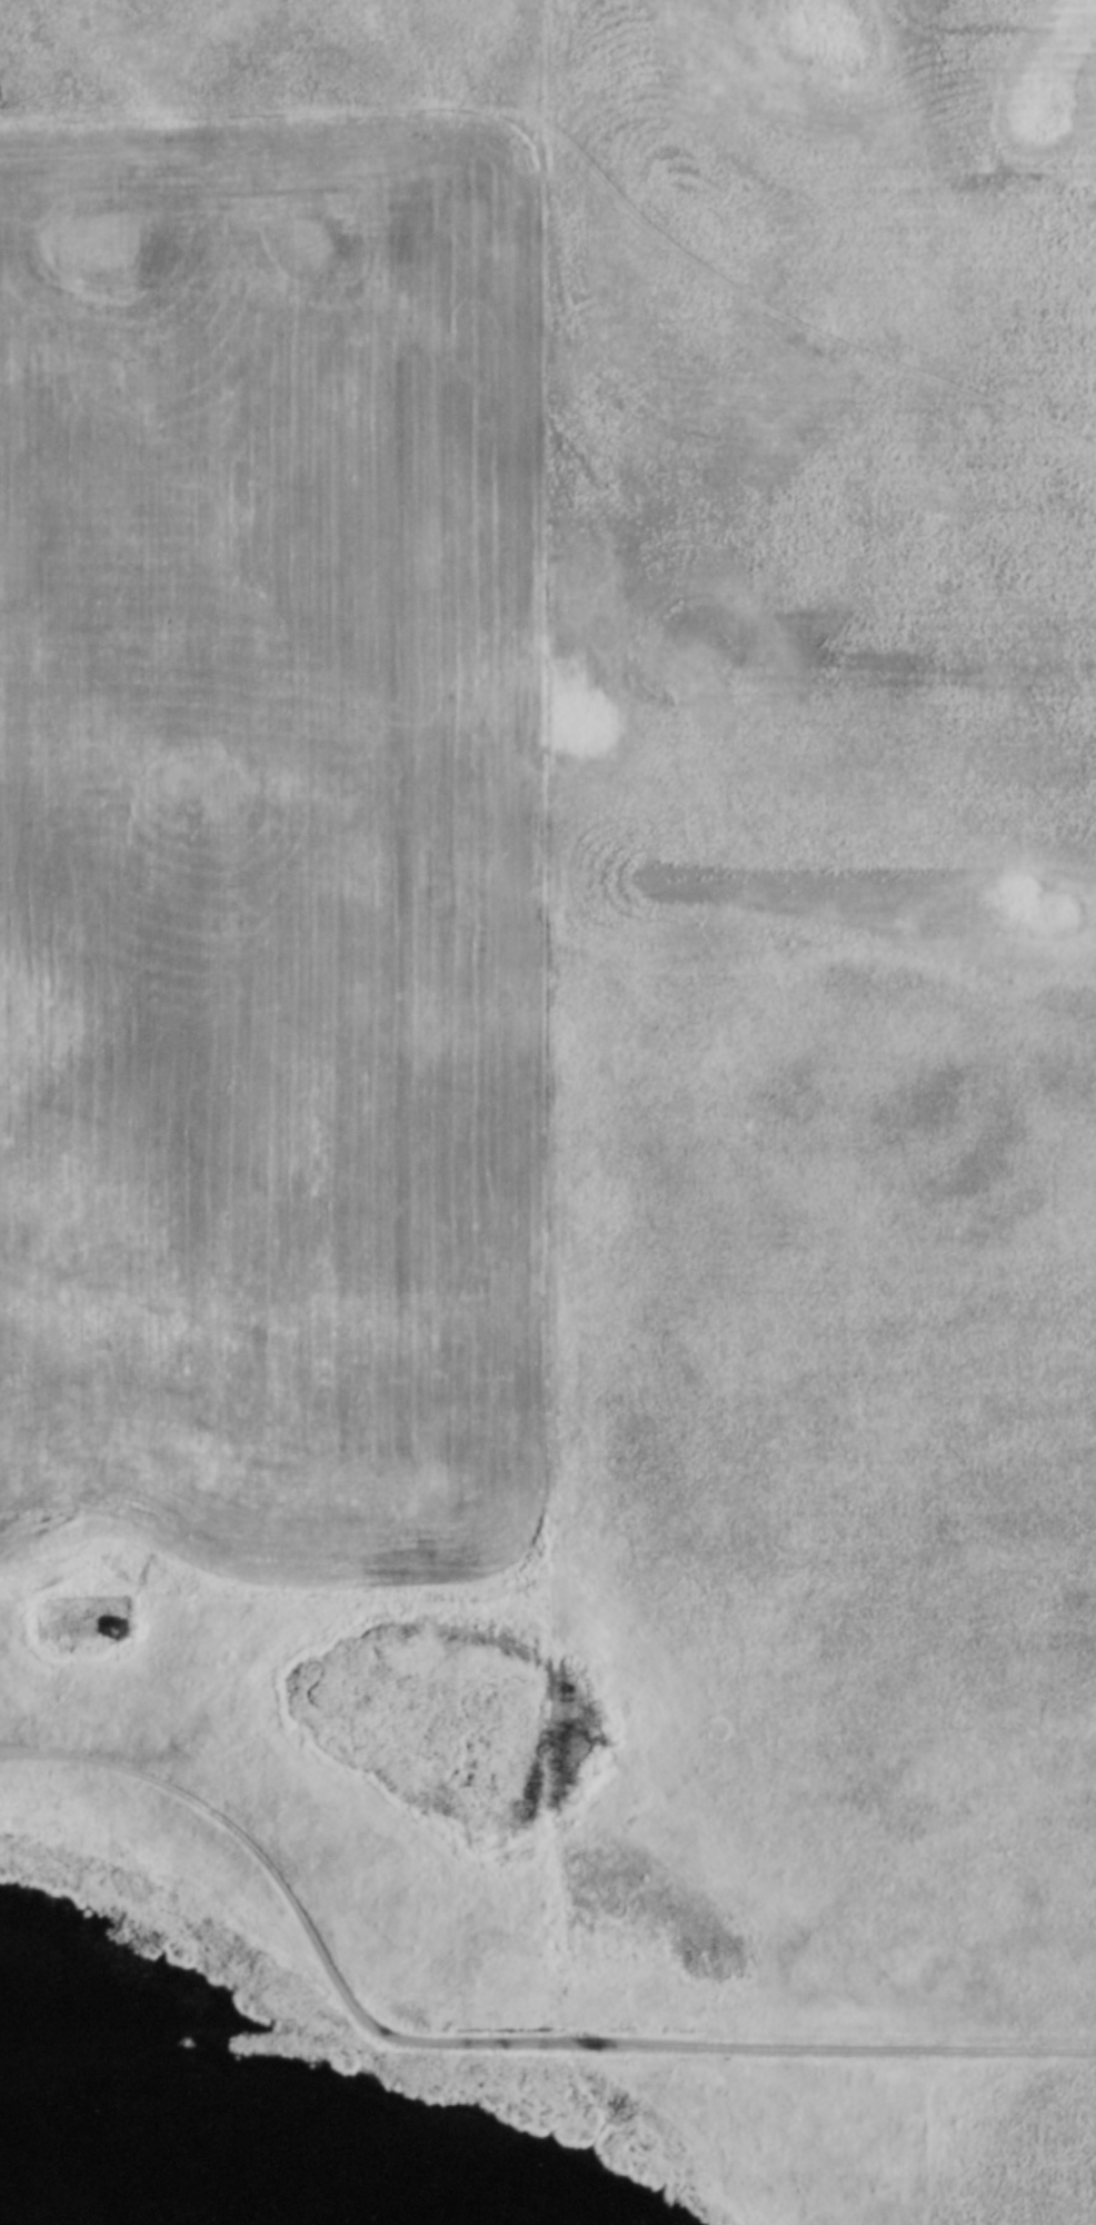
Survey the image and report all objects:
road: (280, 118)
road: (485, 2042)

